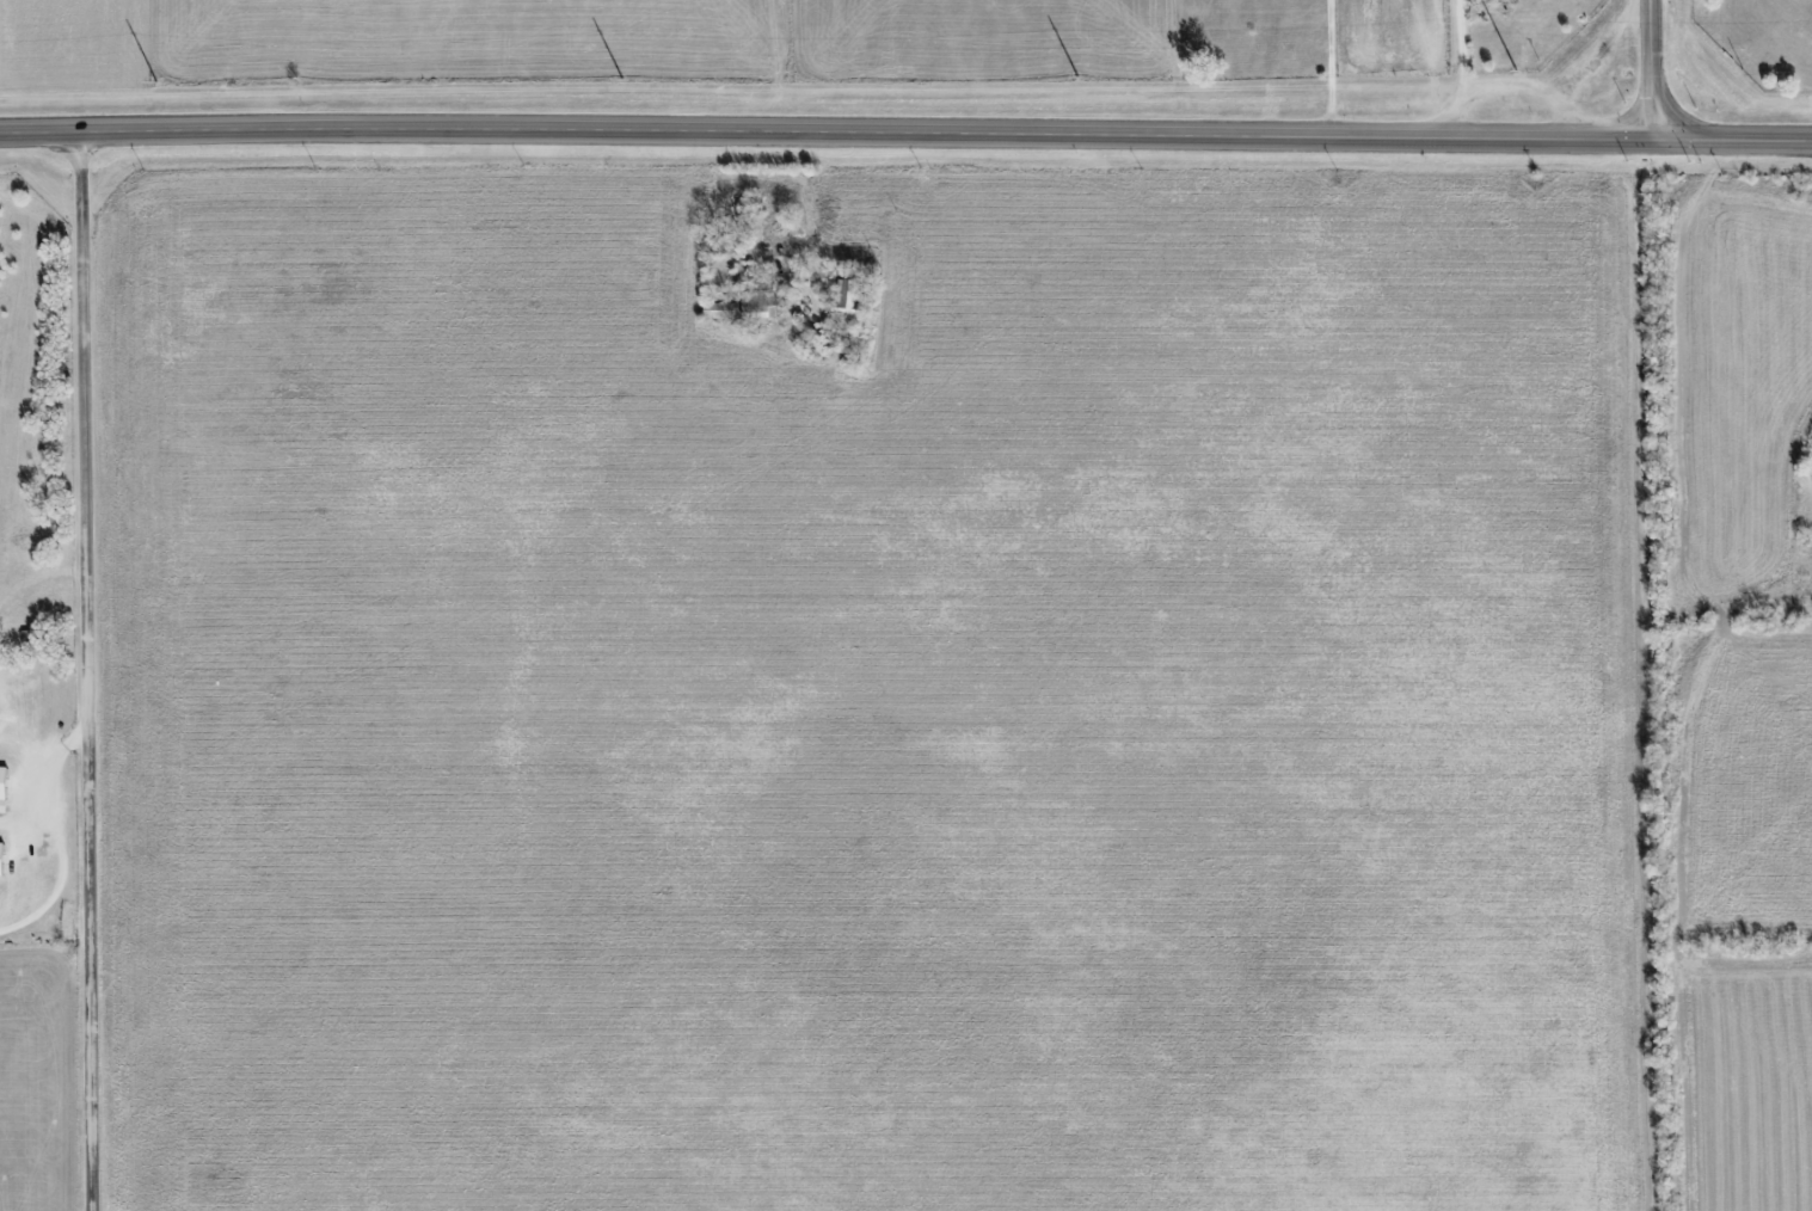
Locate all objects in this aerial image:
road: (1458, 48)
road: (1329, 69)
power tower: (1512, 70)
road: (1656, 70)
power tower: (1077, 80)
power tower: (621, 82)
power tower: (154, 86)
road: (1507, 86)
road: (905, 133)
building: (849, 300)
building: (758, 302)
road: (88, 670)
building: (4, 787)
road: (57, 835)
building: (2, 856)

